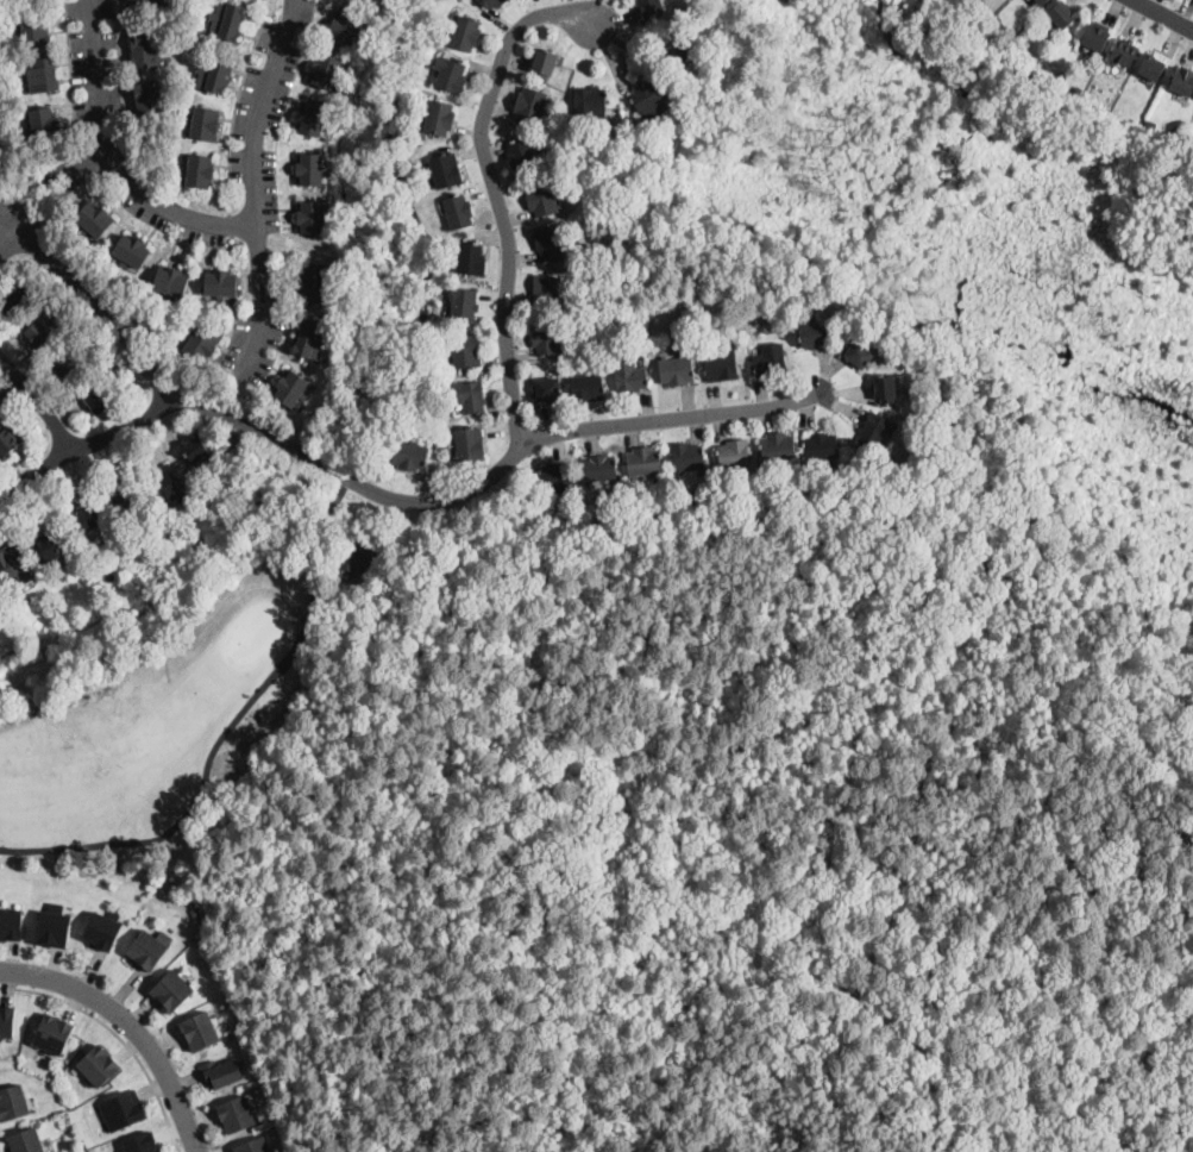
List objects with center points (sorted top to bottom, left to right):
building: (1042, 1)
building: (494, 2)
building: (982, 4)
building: (143, 5)
building: (653, 8)
building: (1061, 14)
road: (1163, 14)
building: (227, 19)
building: (34, 25)
building: (346, 29)
building: (464, 33)
building: (1095, 35)
building: (146, 46)
building: (1076, 46)
building: (674, 50)
building: (1123, 51)
building: (545, 63)
building: (1151, 67)
building: (213, 71)
building: (326, 71)
building: (42, 75)
building: (450, 76)
building: (1182, 80)
building: (1078, 92)
building: (648, 94)
building: (147, 99)
building: (589, 101)
building: (530, 104)
building: (1101, 107)
building: (439, 117)
building: (313, 119)
building: (44, 124)
building: (205, 124)
building: (1150, 125)
building: (522, 155)
road: (114, 162)
building: (310, 169)
building: (199, 170)
building: (445, 170)
road: (256, 188)
road: (497, 192)
road: (46, 194)
building: (541, 198)
building: (458, 212)
building: (312, 217)
building: (94, 219)
building: (580, 228)
building: (550, 243)
building: (131, 250)
building: (471, 258)
park: (1168, 270)
building: (171, 282)
building: (313, 282)
building: (221, 284)
building: (547, 290)
building: (15, 300)
building: (463, 303)
building: (38, 331)
building: (814, 333)
building: (547, 338)
building: (312, 339)
building: (201, 345)
building: (466, 351)
building: (858, 352)
building: (770, 361)
building: (68, 363)
building: (722, 364)
building: (676, 370)
building: (629, 376)
building: (588, 386)
building: (885, 387)
building: (291, 388)
building: (547, 388)
building: (470, 396)
building: (98, 400)
road: (40, 402)
building: (878, 431)
building: (8, 439)
building: (469, 444)
building: (821, 446)
road: (90, 447)
building: (195, 447)
building: (777, 449)
building: (734, 453)
building: (409, 455)
building: (689, 456)
building: (643, 461)
building: (598, 468)
building: (558, 476)
building: (791, 477)
building: (810, 477)
building: (167, 483)
building: (745, 483)
road: (373, 489)
building: (126, 502)
building: (565, 506)
road: (329, 507)
building: (81, 519)
building: (50, 545)
building: (354, 556)
building: (13, 566)
park: (159, 627)
park: (746, 818)
building: (195, 912)
building: (12, 922)
building: (55, 925)
building: (103, 928)
building: (149, 947)
building: (171, 989)
building: (6, 1020)
road: (130, 1023)
building: (200, 1029)
building: (54, 1031)
road: (119, 1035)
building: (99, 1064)
building: (222, 1070)
building: (13, 1100)
building: (124, 1109)
building: (236, 1112)
building: (26, 1139)
building: (142, 1142)
building: (253, 1145)

